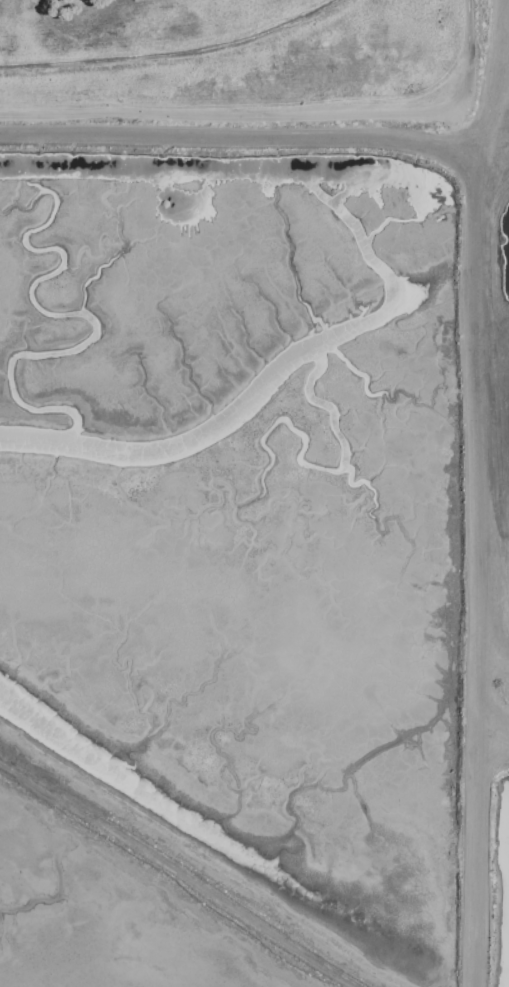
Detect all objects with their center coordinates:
road: (170, 53)
park: (247, 67)
road: (283, 117)
road: (481, 570)
road: (495, 691)
road: (176, 877)

